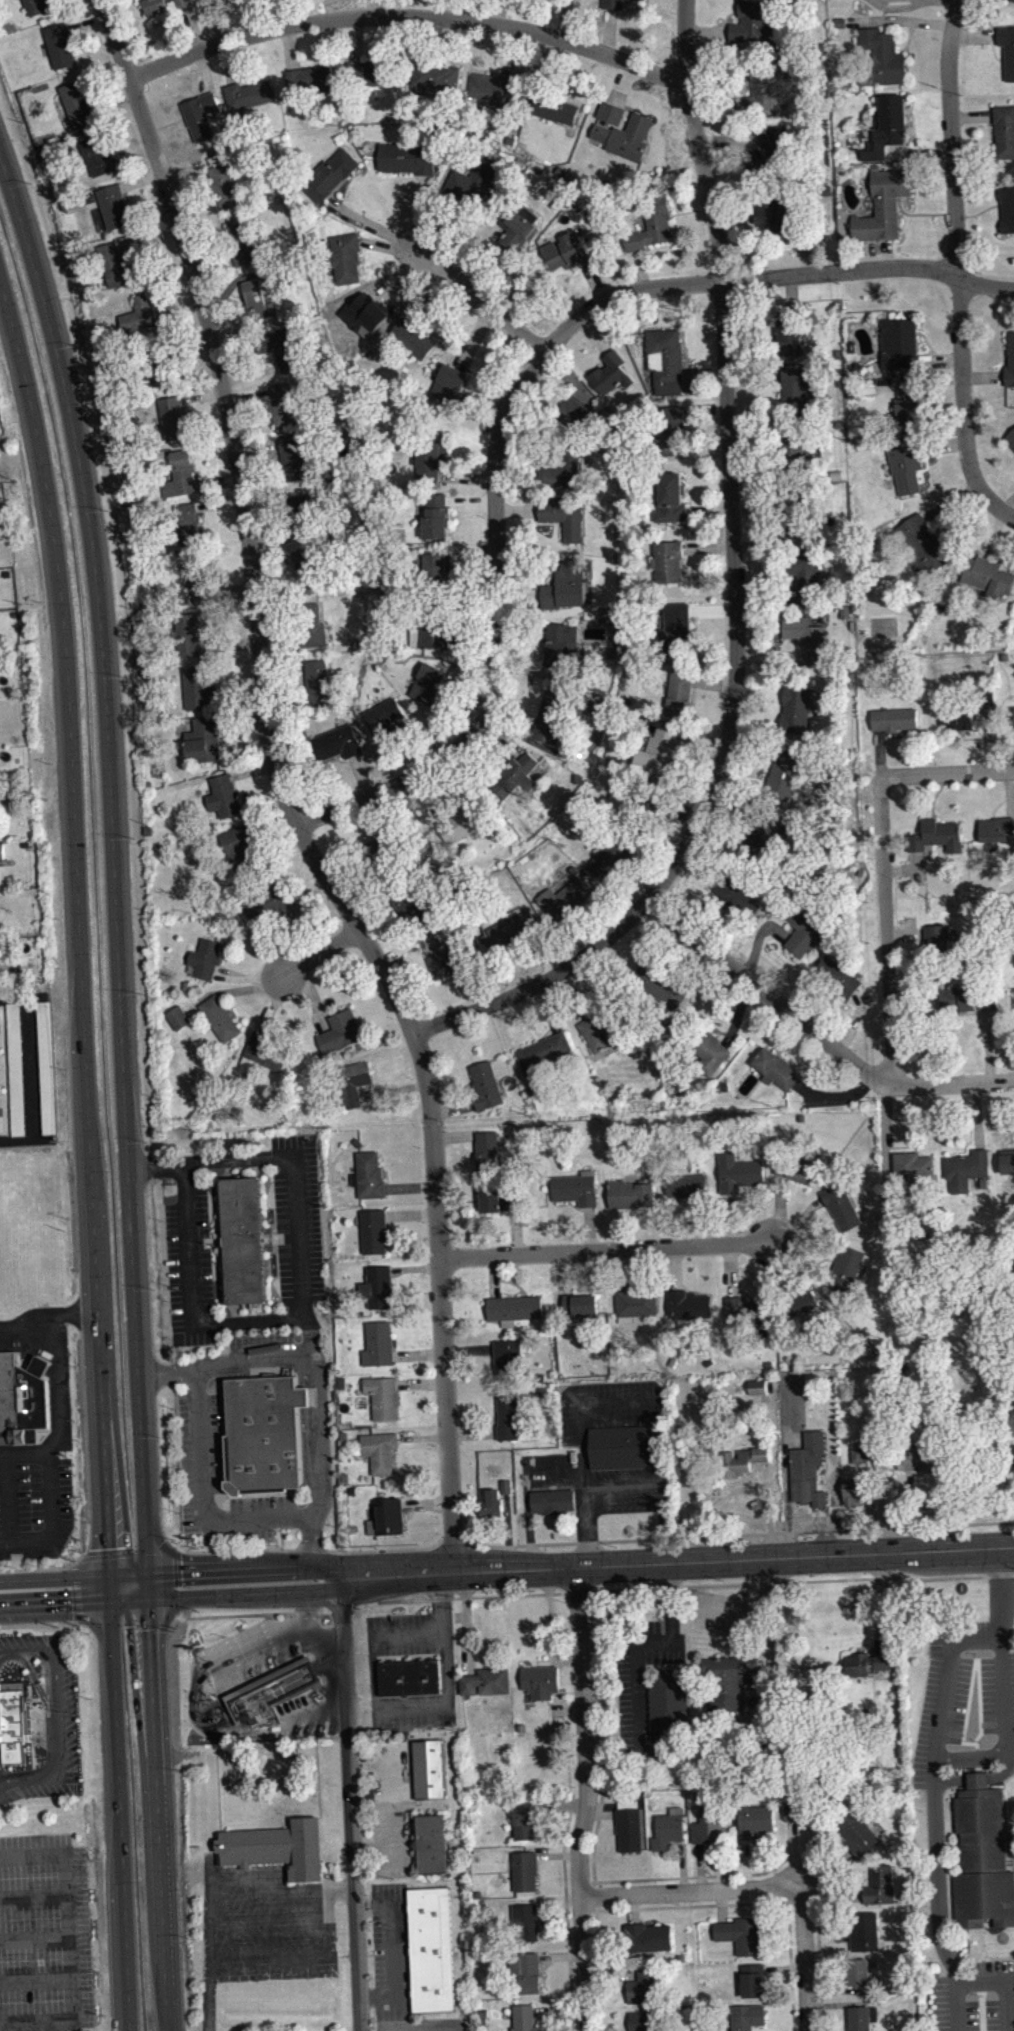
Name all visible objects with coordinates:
building: (183, 2)
building: (1012, 3)
building: (612, 4)
building: (36, 6)
building: (155, 6)
road: (406, 15)
building: (752, 22)
building: (60, 44)
building: (1007, 48)
building: (881, 57)
building: (372, 71)
building: (309, 77)
building: (435, 77)
building: (762, 89)
building: (497, 90)
building: (248, 93)
building: (77, 104)
building: (555, 109)
building: (200, 114)
building: (887, 126)
building: (1004, 130)
building: (622, 131)
building: (771, 150)
building: (95, 154)
building: (408, 157)
building: (329, 174)
building: (475, 177)
building: (224, 184)
building: (113, 205)
building: (883, 205)
building: (1007, 209)
building: (778, 216)
building: (651, 223)
building: (514, 226)
building: (241, 242)
building: (565, 251)
building: (344, 255)
road: (957, 258)
building: (116, 265)
road: (477, 292)
building: (257, 300)
building: (139, 313)
building: (787, 337)
building: (413, 338)
building: (898, 342)
building: (277, 346)
building: (665, 359)
building: (1010, 360)
building: (159, 363)
building: (610, 373)
building: (884, 380)
building: (448, 383)
road: (515, 391)
building: (796, 391)
building: (282, 403)
building: (909, 406)
building: (570, 412)
building: (173, 416)
building: (672, 429)
building: (1010, 439)
building: (1010, 445)
building: (797, 455)
building: (296, 456)
road: (728, 458)
building: (430, 459)
building: (908, 466)
building: (557, 467)
building: (180, 474)
building: (671, 498)
building: (436, 511)
road: (1005, 513)
building: (297, 515)
building: (564, 515)
building: (803, 519)
building: (187, 522)
building: (923, 545)
building: (668, 560)
building: (439, 566)
building: (307, 568)
building: (806, 574)
building: (987, 576)
building: (201, 579)
building: (566, 584)
building: (310, 625)
building: (431, 628)
building: (192, 630)
building: (675, 630)
building: (806, 638)
building: (558, 643)
building: (317, 680)
building: (427, 682)
building: (198, 686)
building: (680, 694)
building: (986, 694)
building: (795, 710)
building: (549, 716)
building: (382, 718)
building: (894, 719)
building: (959, 720)
building: (207, 736)
building: (334, 741)
building: (657, 751)
road: (948, 771)
building: (782, 773)
building: (521, 777)
road: (280, 791)
building: (223, 795)
building: (642, 800)
building: (463, 824)
building: (762, 825)
building: (996, 828)
building: (936, 836)
building: (236, 845)
building: (2, 850)
building: (380, 850)
building: (614, 850)
road: (116, 866)
building: (566, 893)
building: (736, 898)
building: (406, 900)
building: (267, 903)
building: (283, 913)
building: (514, 927)
building: (803, 927)
road: (886, 931)
building: (938, 940)
road: (319, 956)
building: (206, 958)
building: (447, 960)
building: (836, 977)
road: (541, 983)
building: (665, 983)
building: (966, 998)
building: (178, 1017)
building: (219, 1017)
building: (604, 1027)
building: (340, 1032)
road: (818, 1033)
building: (265, 1051)
building: (544, 1059)
building: (712, 1059)
parking lot: (30, 1065)
building: (775, 1069)
road: (32, 1071)
building: (48, 1074)
building: (17, 1076)
building: (352, 1081)
building: (485, 1085)
building: (1, 1102)
road: (94, 1150)
building: (487, 1152)
road: (291, 1157)
building: (1007, 1161)
road: (157, 1165)
building: (912, 1165)
building: (800, 1167)
building: (966, 1168)
building: (737, 1172)
building: (370, 1174)
building: (686, 1186)
building: (575, 1188)
building: (629, 1194)
building: (498, 1198)
building: (841, 1205)
building: (510, 1209)
parking lot: (298, 1217)
building: (374, 1230)
building: (243, 1241)
road: (605, 1250)
parking lot: (190, 1267)
building: (845, 1268)
building: (376, 1286)
building: (801, 1302)
building: (579, 1304)
building: (634, 1304)
building: (687, 1304)
building: (513, 1308)
building: (748, 1311)
road: (50, 1317)
building: (377, 1343)
road: (272, 1355)
building: (510, 1358)
building: (757, 1386)
building: (758, 1394)
building: (382, 1396)
building: (21, 1401)
parking lot: (792, 1401)
road: (588, 1403)
parking lot: (609, 1406)
road: (60, 1409)
building: (507, 1415)
building: (265, 1432)
building: (621, 1447)
building: (379, 1450)
building: (1009, 1454)
building: (859, 1455)
building: (919, 1456)
building: (740, 1459)
building: (860, 1462)
road: (785, 1467)
building: (806, 1468)
parking lot: (551, 1470)
parking lot: (219, 1480)
building: (506, 1486)
road: (582, 1488)
road: (622, 1490)
parking lot: (626, 1490)
building: (856, 1490)
road: (203, 1492)
road: (8, 1498)
parking lot: (35, 1499)
building: (551, 1500)
building: (491, 1504)
building: (386, 1516)
road: (49, 1520)
road: (737, 1534)
road: (453, 1537)
road: (310, 1550)
road: (127, 1551)
road: (677, 1560)
road: (248, 1566)
road: (40, 1568)
traffic signals: (151, 1571)
traffic signals: (110, 1574)
road: (75, 1575)
road: (176, 1580)
road: (800, 1580)
road: (76, 1590)
road: (576, 1592)
road: (248, 1594)
road: (457, 1597)
road: (441, 1599)
traffic signals: (153, 1601)
traffic signals: (112, 1603)
road: (76, 1605)
road: (341, 1610)
road: (252, 1613)
road: (127, 1616)
road: (760, 1619)
road: (39, 1622)
parking lot: (402, 1633)
road: (649, 1651)
road: (43, 1661)
building: (867, 1662)
road: (446, 1668)
road: (947, 1670)
road: (371, 1672)
building: (409, 1677)
road: (36, 1679)
building: (540, 1681)
building: (486, 1682)
building: (724, 1683)
building: (272, 1688)
building: (668, 1698)
road: (58, 1710)
parking lot: (412, 1710)
building: (15, 1724)
parking lot: (48, 1725)
road: (970, 1754)
building: (427, 1768)
road: (589, 1798)
road: (350, 1804)
parking lot: (393, 1808)
building: (809, 1814)
road: (162, 1816)
building: (526, 1820)
building: (755, 1820)
building: (628, 1825)
building: (709, 1825)
building: (668, 1829)
building: (857, 1833)
building: (645, 1835)
building: (431, 1843)
building: (277, 1846)
building: (982, 1856)
building: (525, 1870)
road: (761, 1872)
building: (880, 1885)
road: (691, 1892)
road: (32, 1896)
road: (695, 1905)
road: (566, 1911)
building: (525, 1922)
parking lot: (271, 1925)
building: (863, 1930)
parking lot: (44, 1934)
building: (741, 1934)
building: (647, 1936)
road: (33, 1937)
road: (67, 1939)
road: (209, 1943)
road: (392, 1948)
building: (430, 1949)
parking lot: (390, 1950)
road: (803, 1959)
building: (858, 1971)
building: (526, 1972)
road: (34, 1978)
building: (752, 1979)
building: (645, 1987)
parking lot: (975, 1995)
building: (746, 2016)
building: (862, 2017)
building: (524, 2018)
building: (647, 2020)

